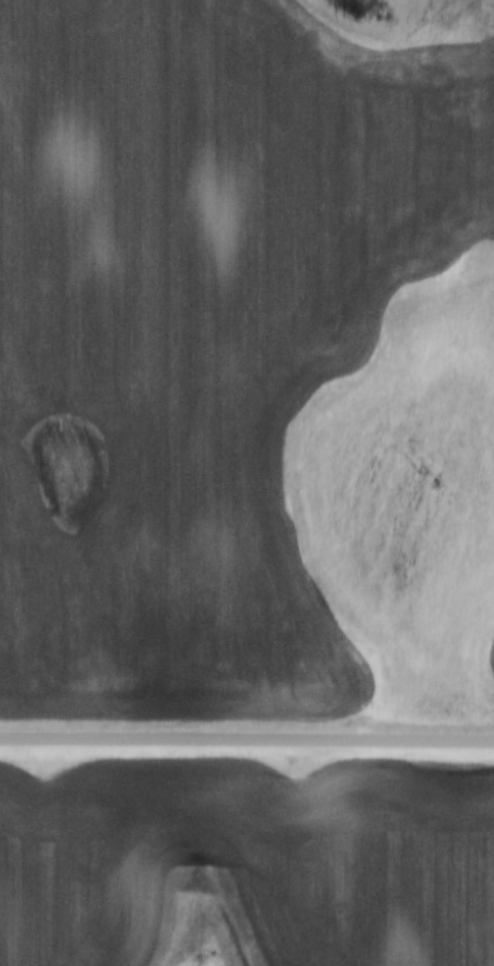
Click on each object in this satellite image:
road: (247, 741)

